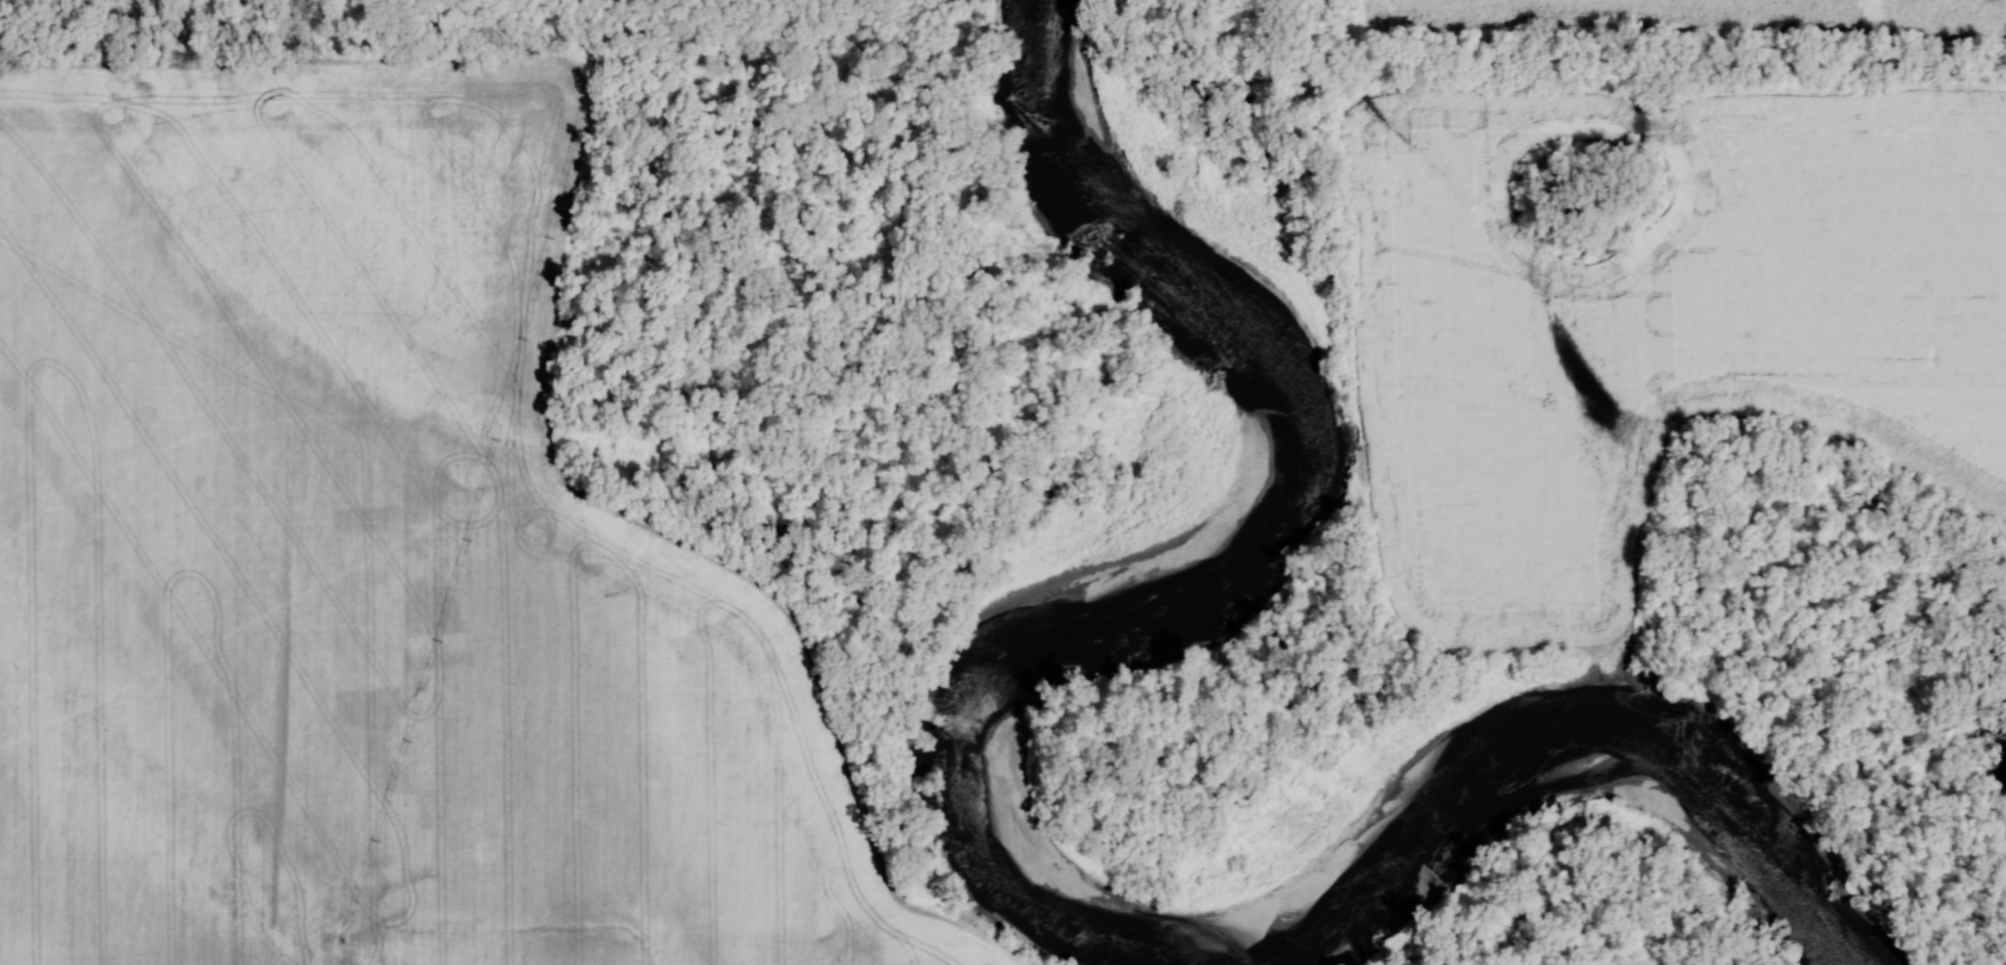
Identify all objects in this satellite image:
river: (1001, 841)

